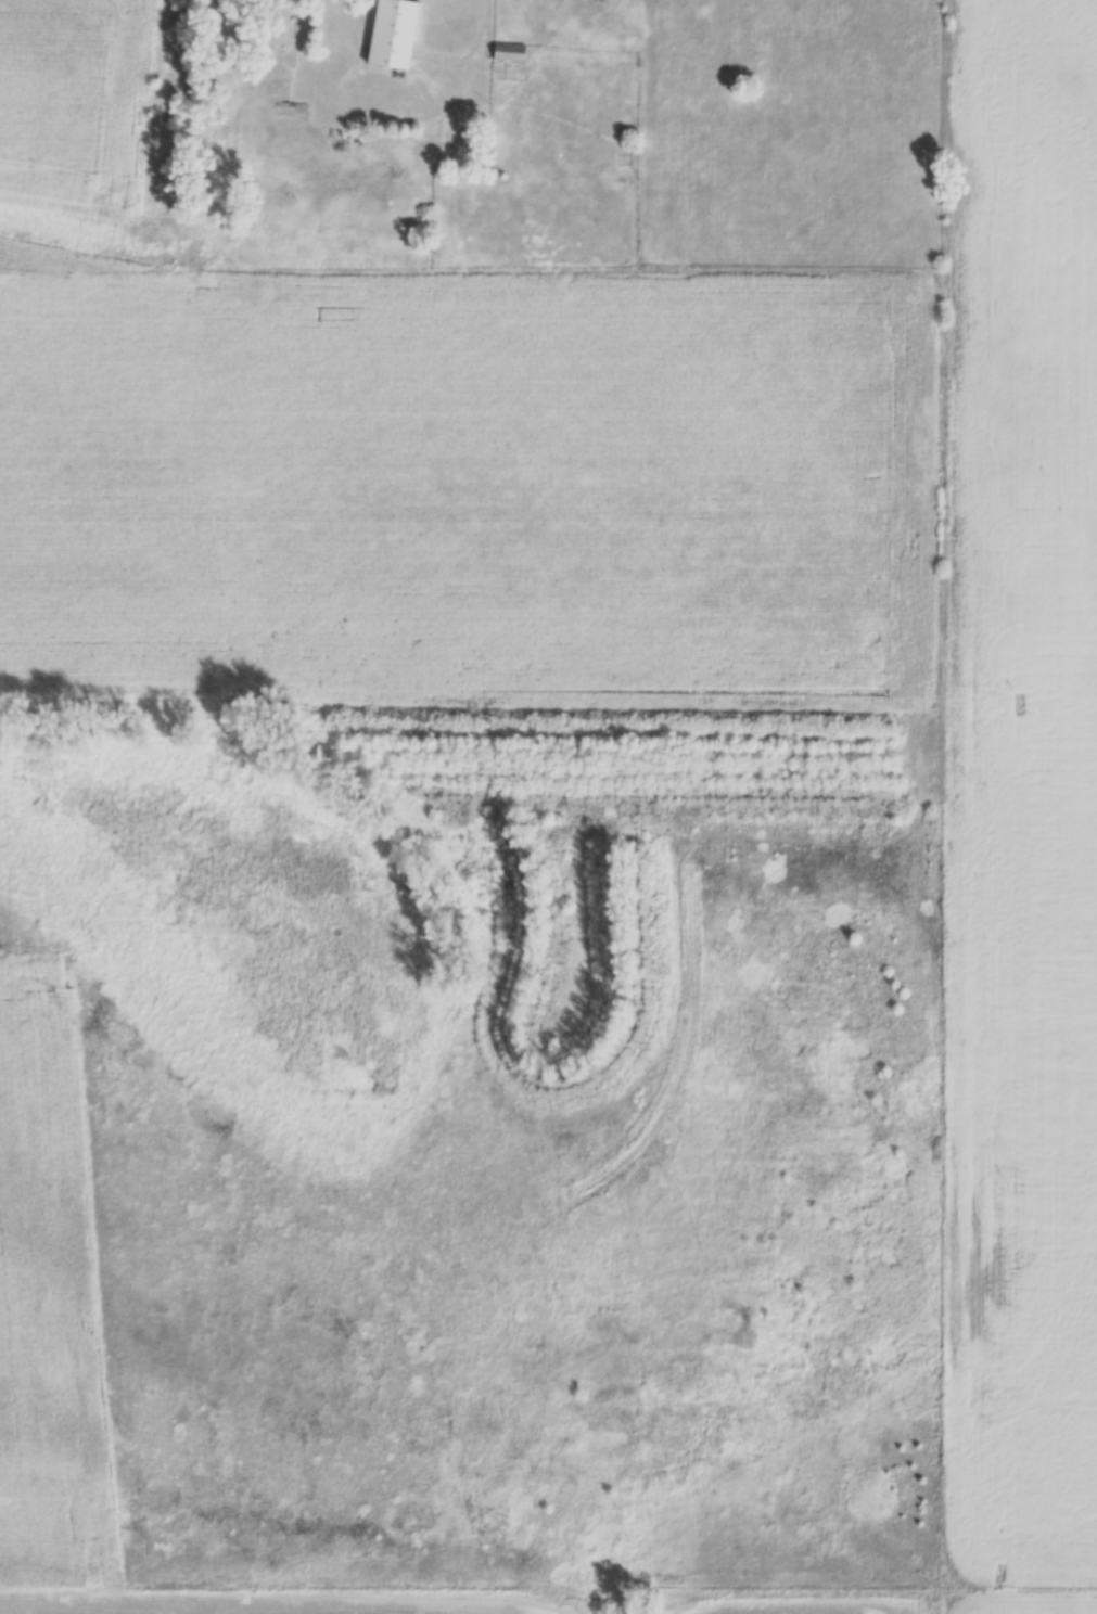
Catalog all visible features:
building: (395, 34)
building: (510, 52)

